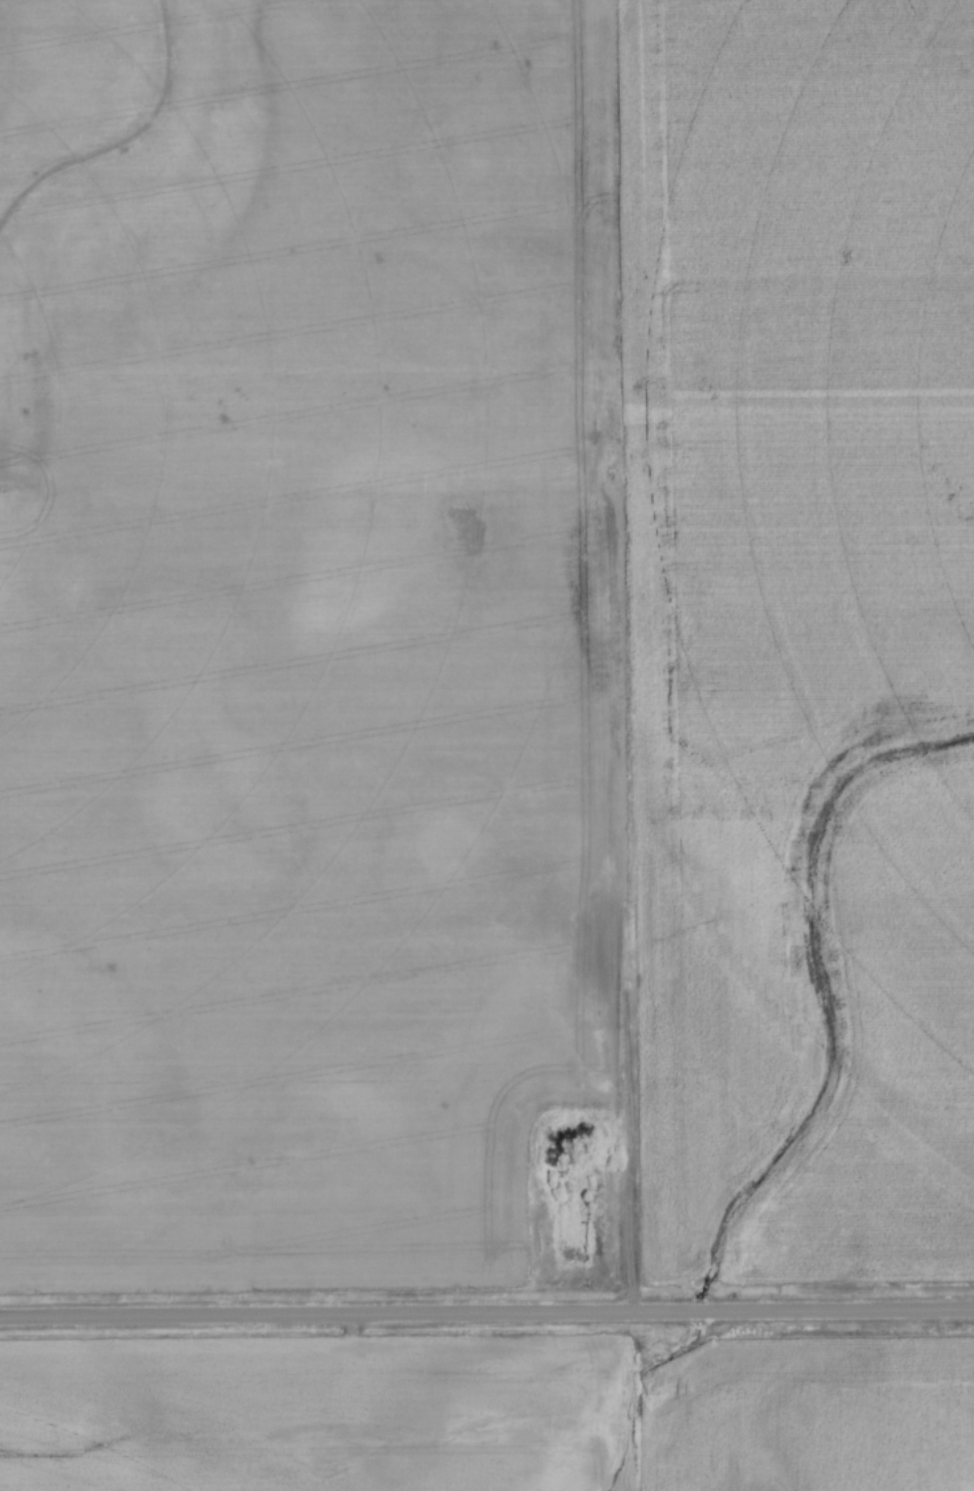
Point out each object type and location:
road: (486, 1318)

